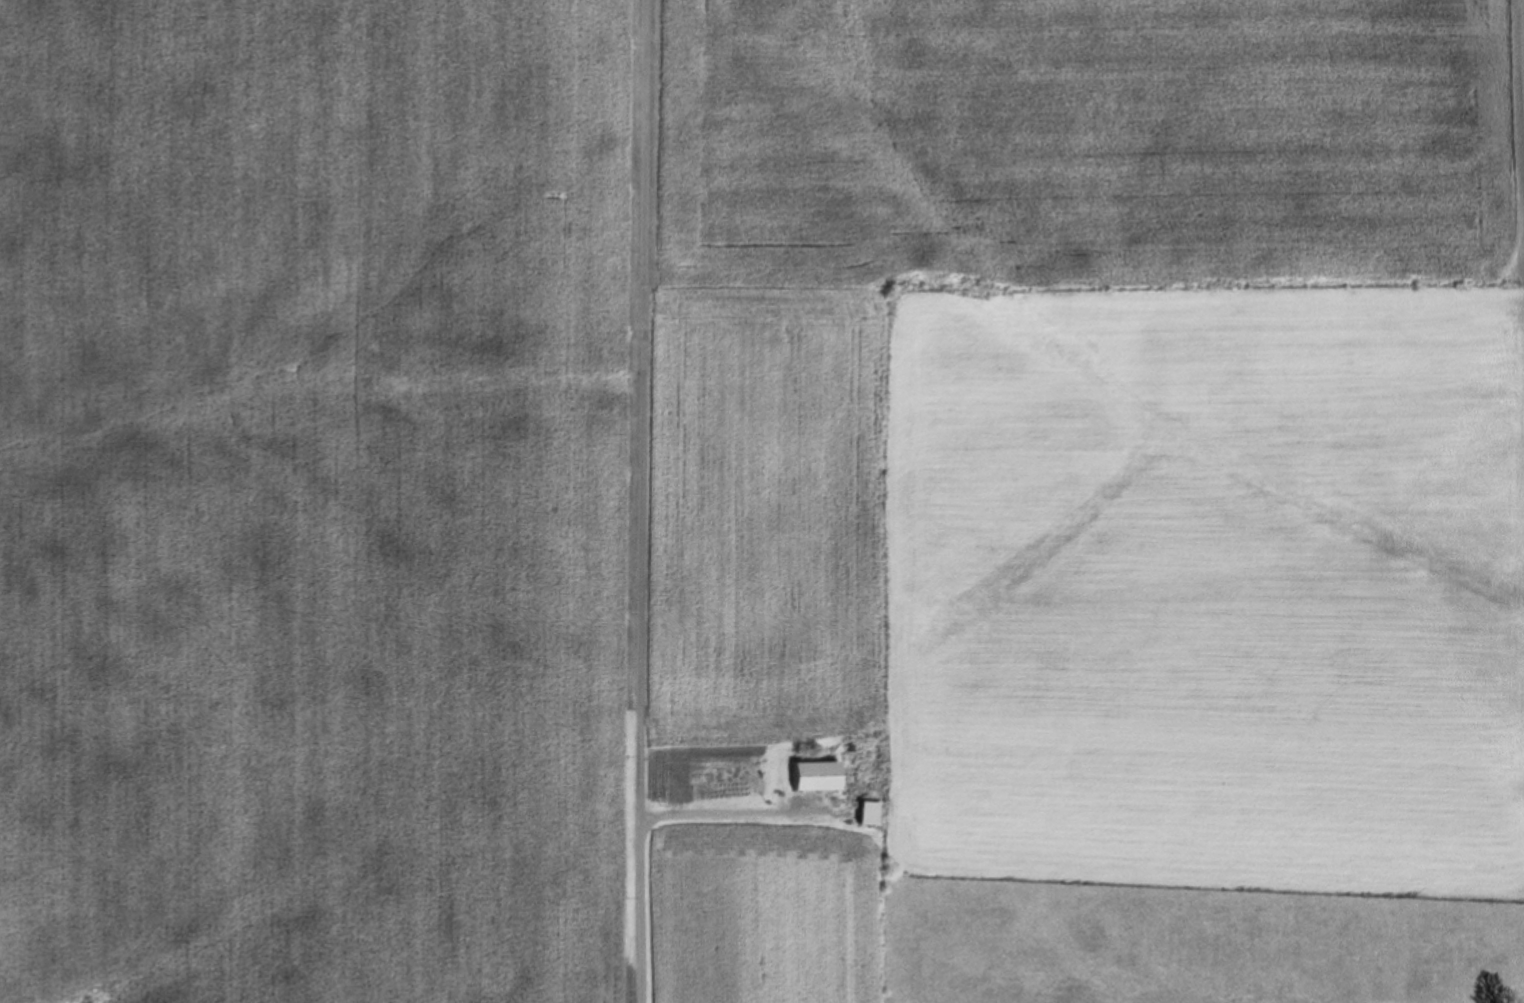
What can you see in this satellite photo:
road: (645, 501)
building: (800, 775)
building: (857, 812)
road: (731, 813)
building: (872, 813)

